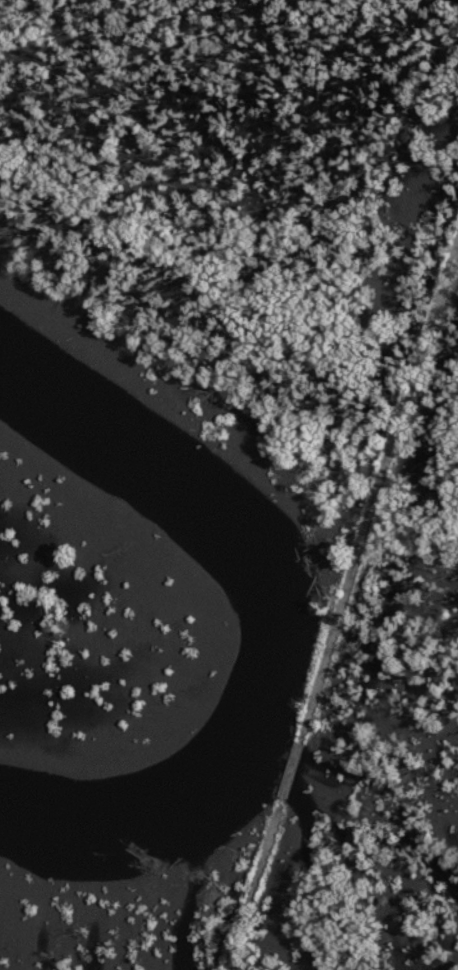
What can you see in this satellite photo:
road: (345, 601)
river: (298, 634)

